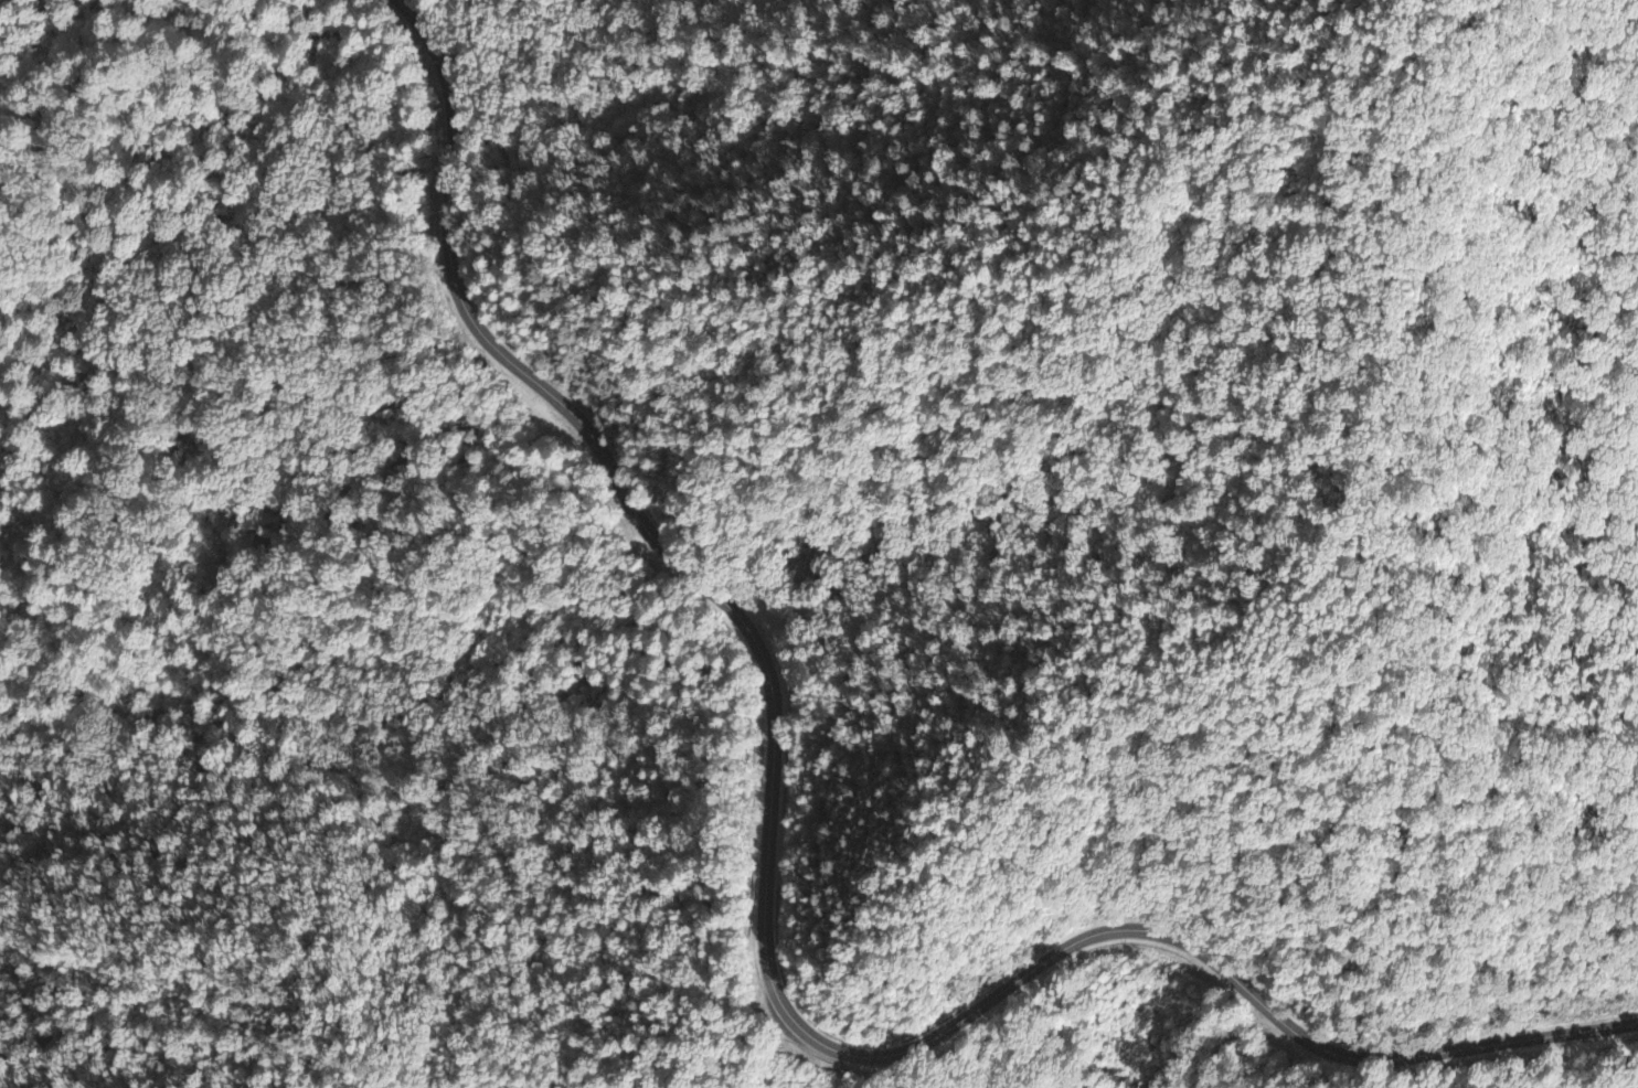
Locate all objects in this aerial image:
road: (761, 914)

